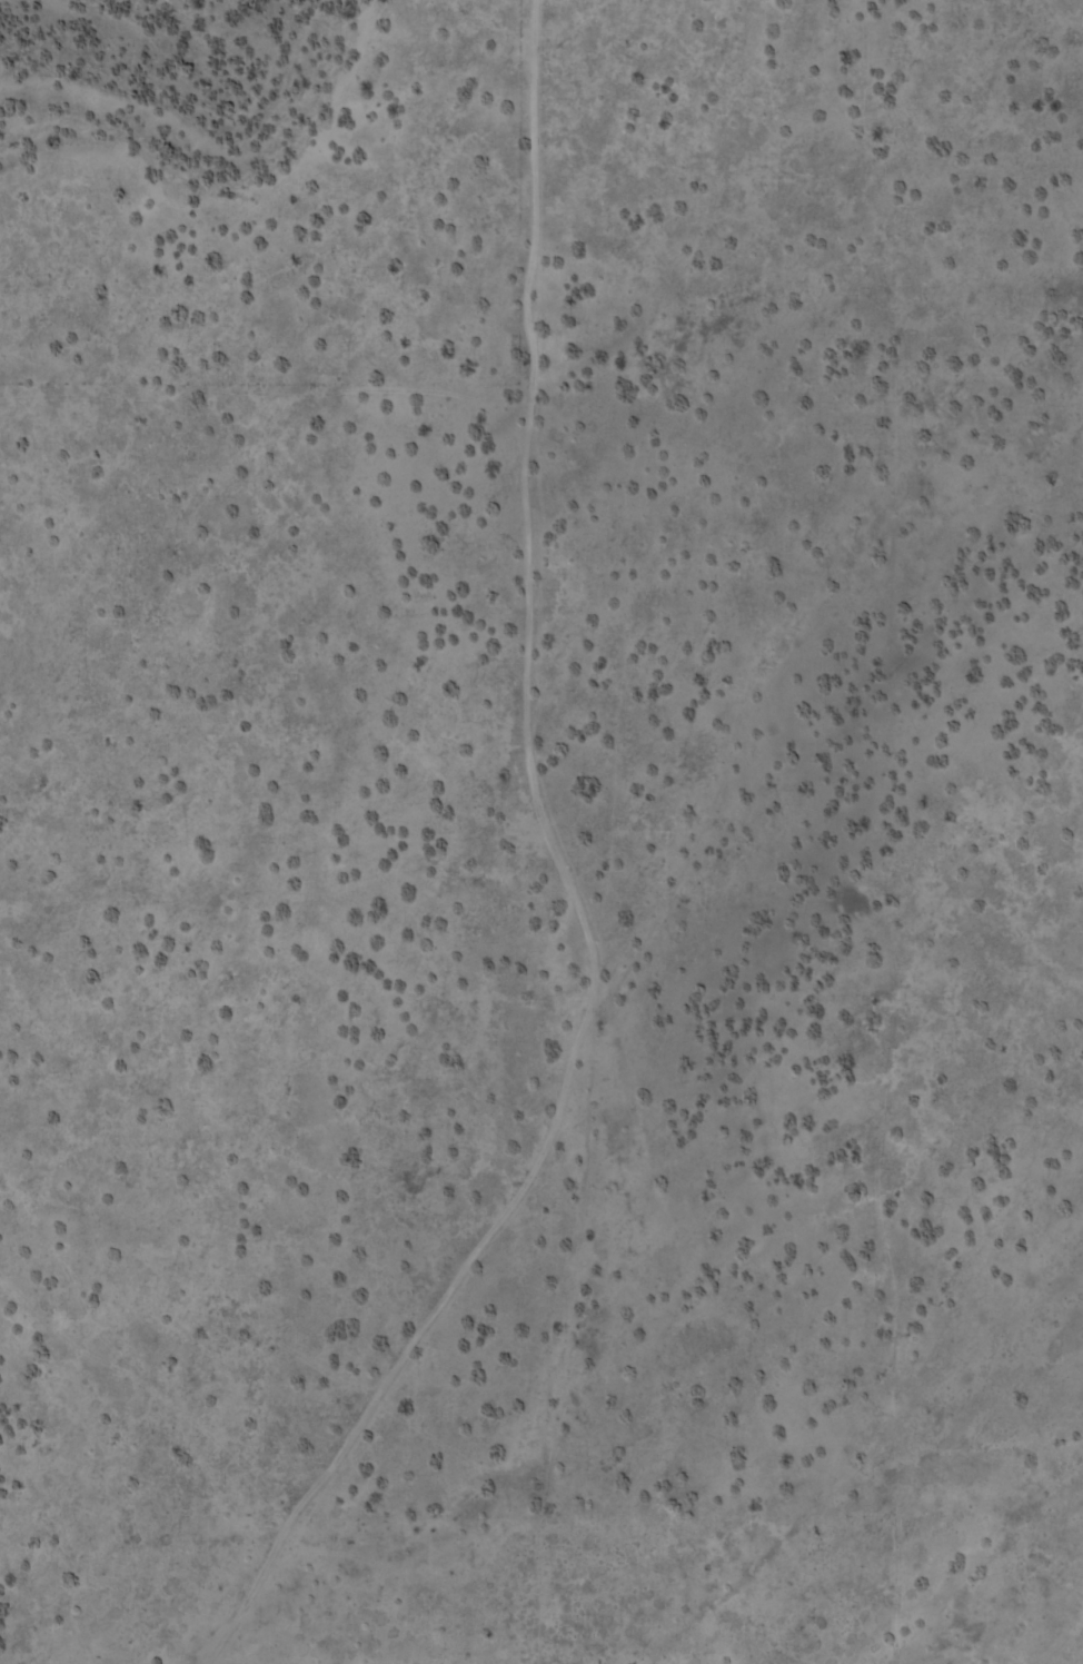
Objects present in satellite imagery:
road: (554, 853)

